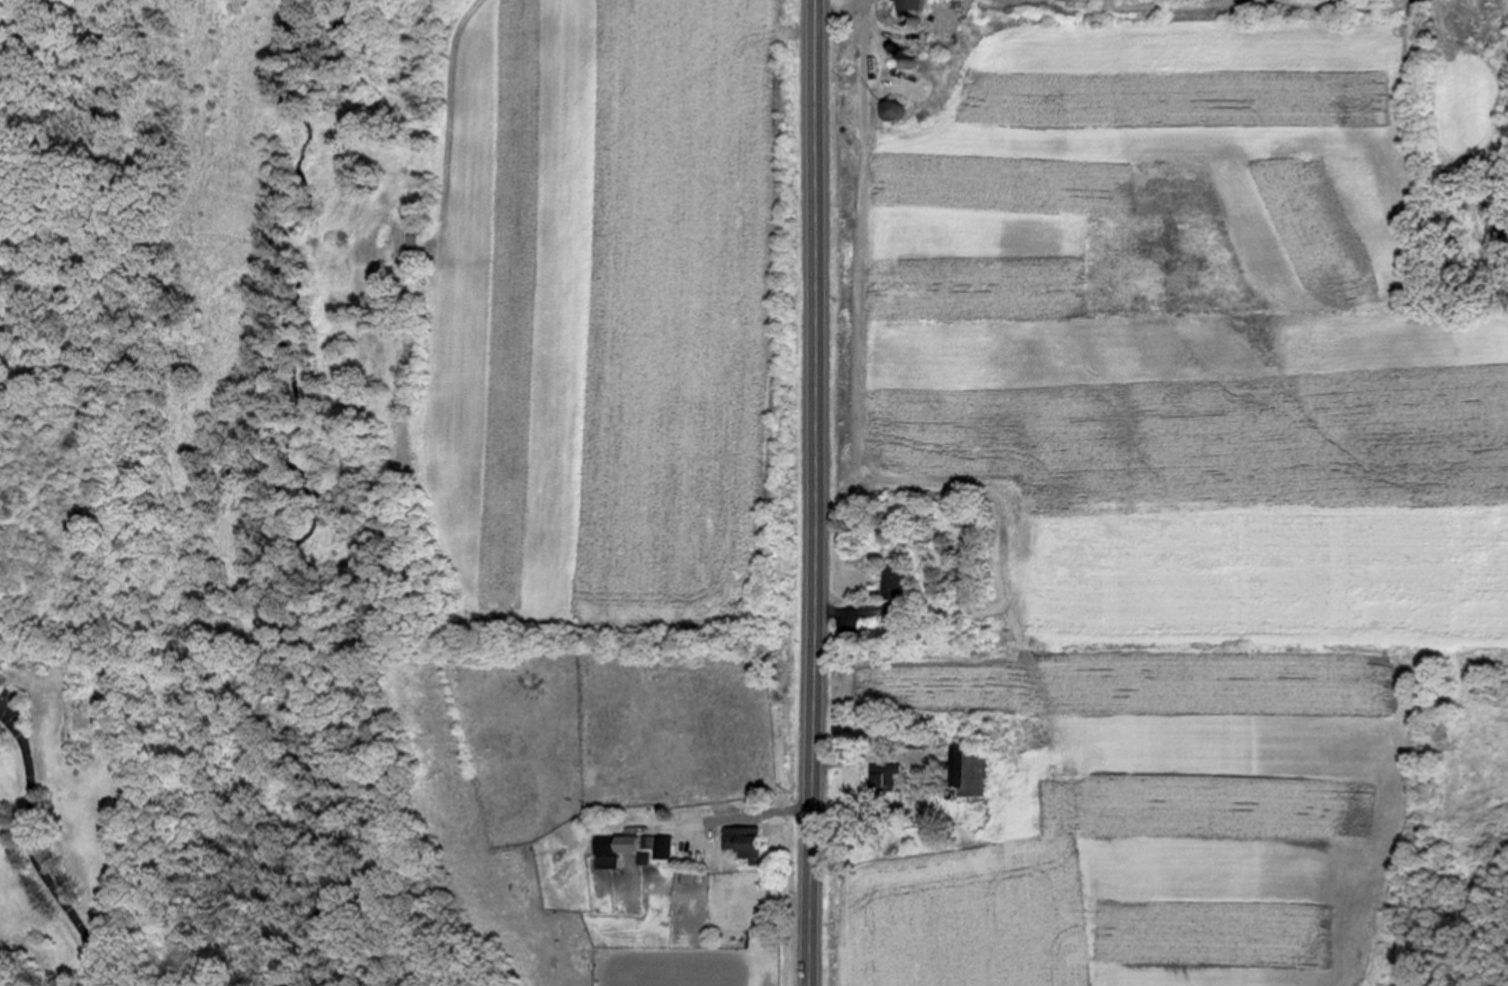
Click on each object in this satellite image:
road: (822, 0)
building: (916, 6)
building: (894, 111)
road: (817, 298)
building: (972, 772)
road: (813, 791)
building: (632, 849)

